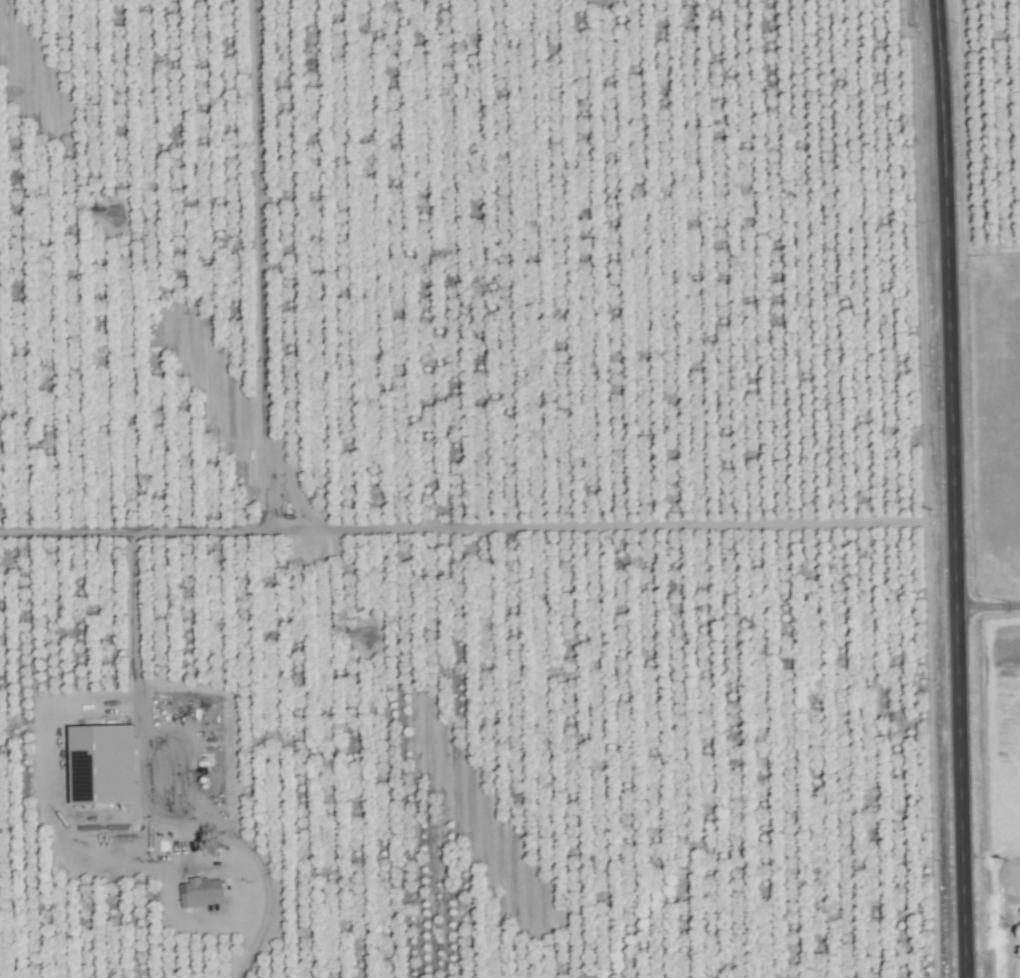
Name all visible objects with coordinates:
power tower: (111, 213)
crop: (540, 463)
road: (951, 489)
road: (207, 529)
road: (987, 606)
power tower: (366, 634)
building: (90, 727)
building: (66, 736)
crop: (7, 759)
building: (176, 775)
building: (107, 815)
building: (200, 893)
crop: (7, 961)

